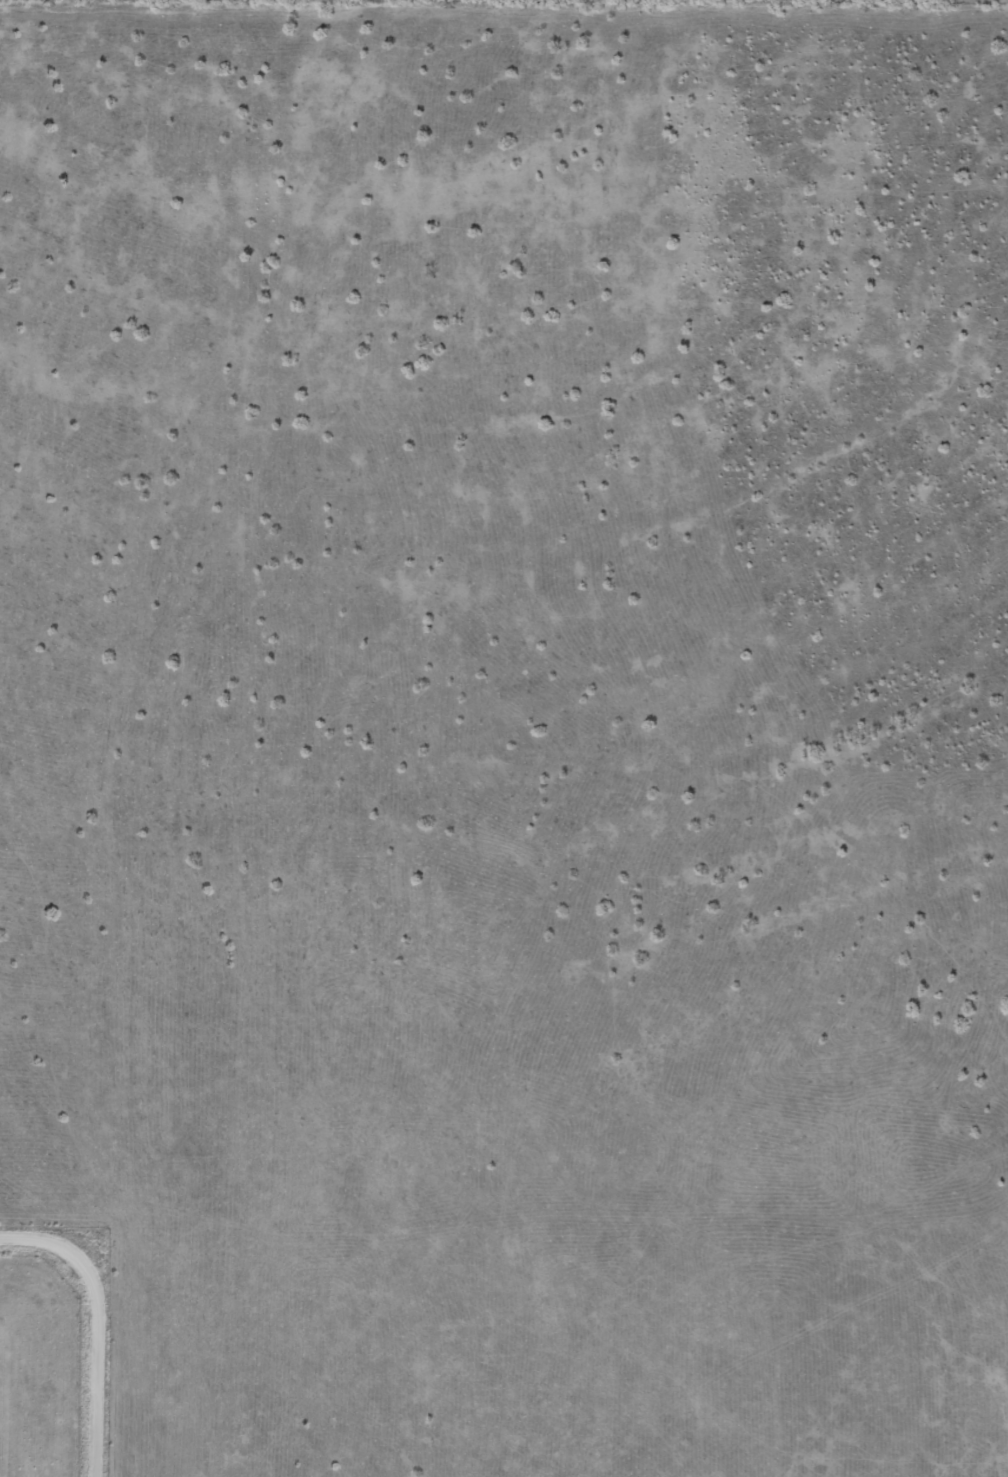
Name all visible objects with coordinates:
road: (110, 1303)

